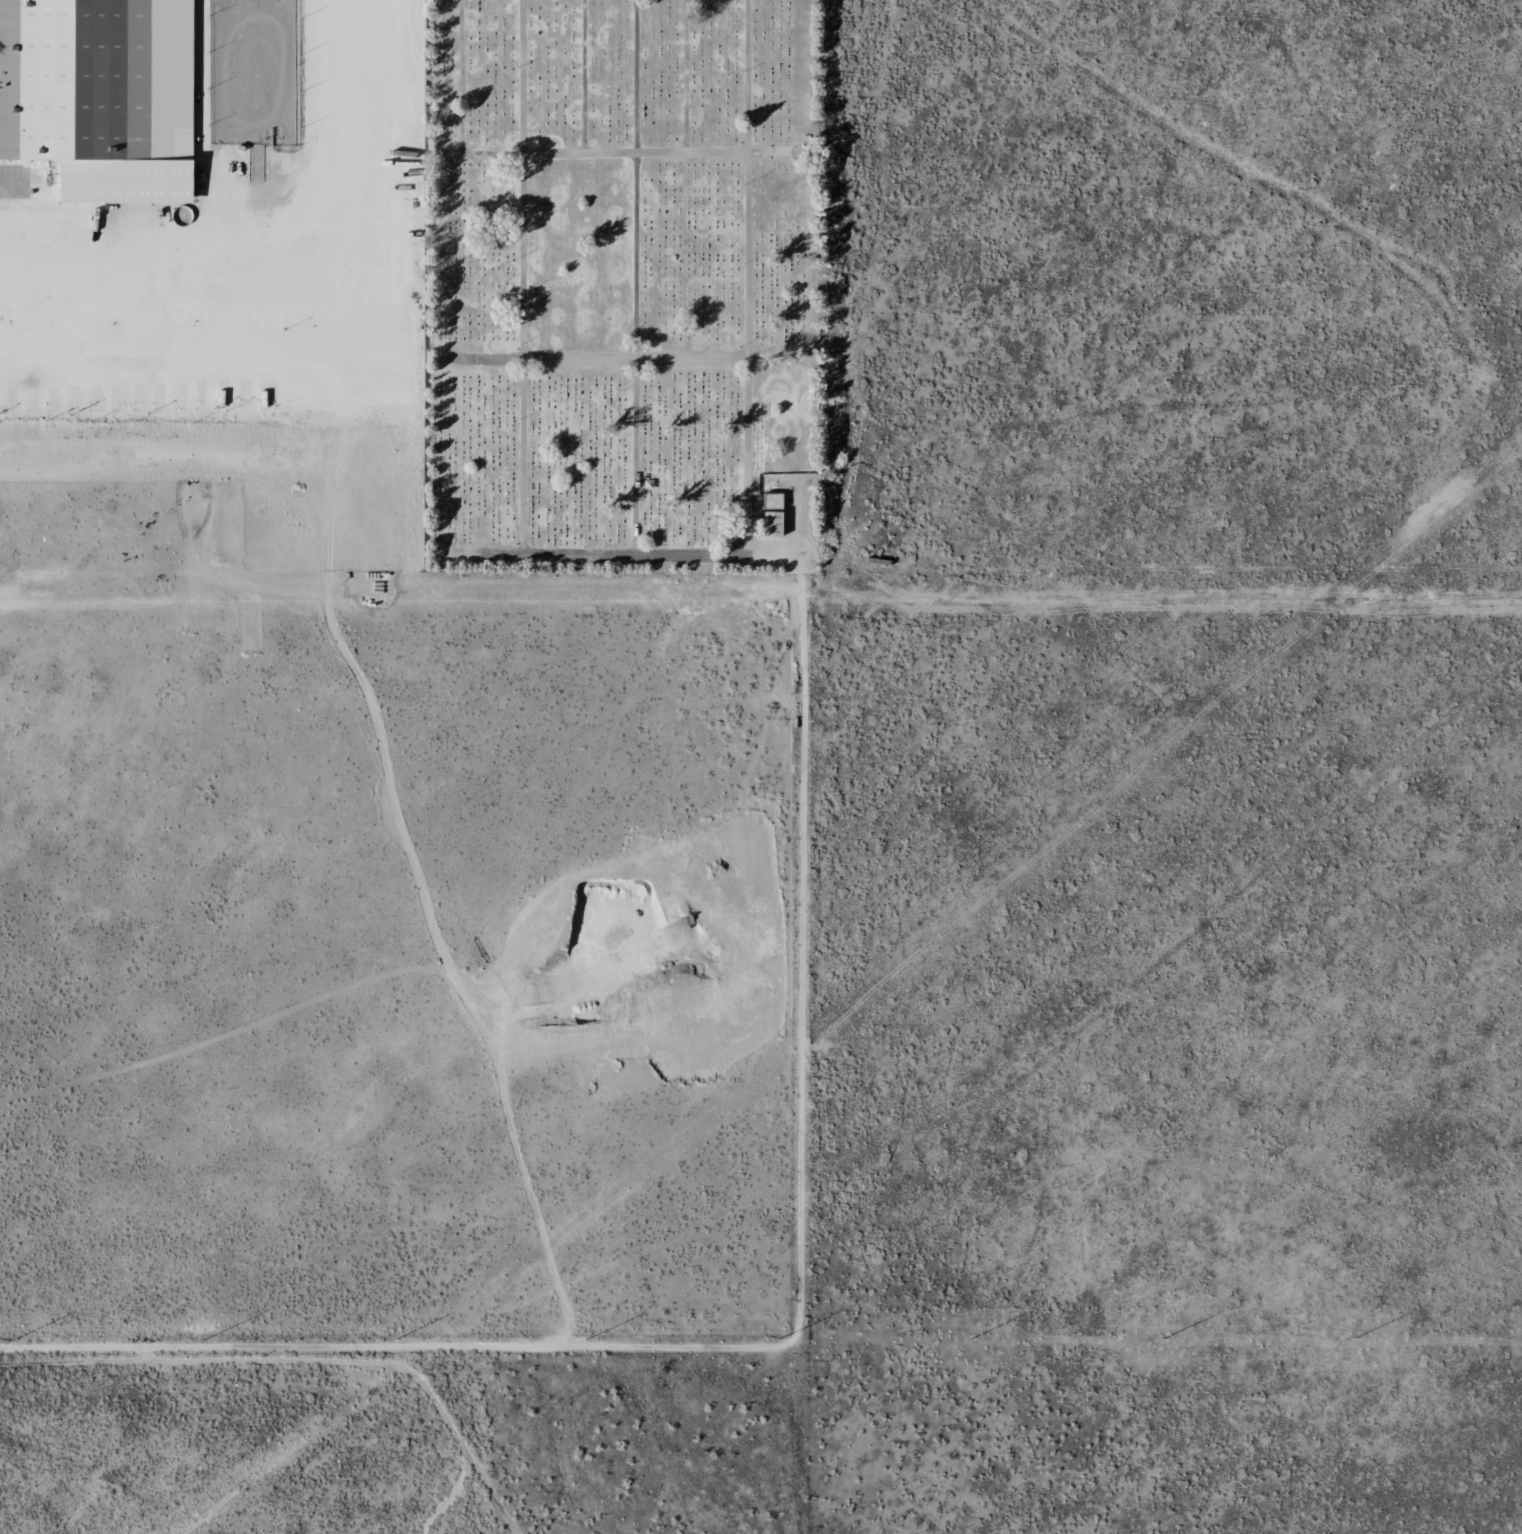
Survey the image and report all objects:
building: (99, 96)
road: (657, 155)
road: (524, 277)
road: (747, 277)
road: (638, 278)
park: (622, 285)
road: (622, 359)
building: (770, 502)
building: (769, 524)
road: (612, 555)
road: (393, 1348)

